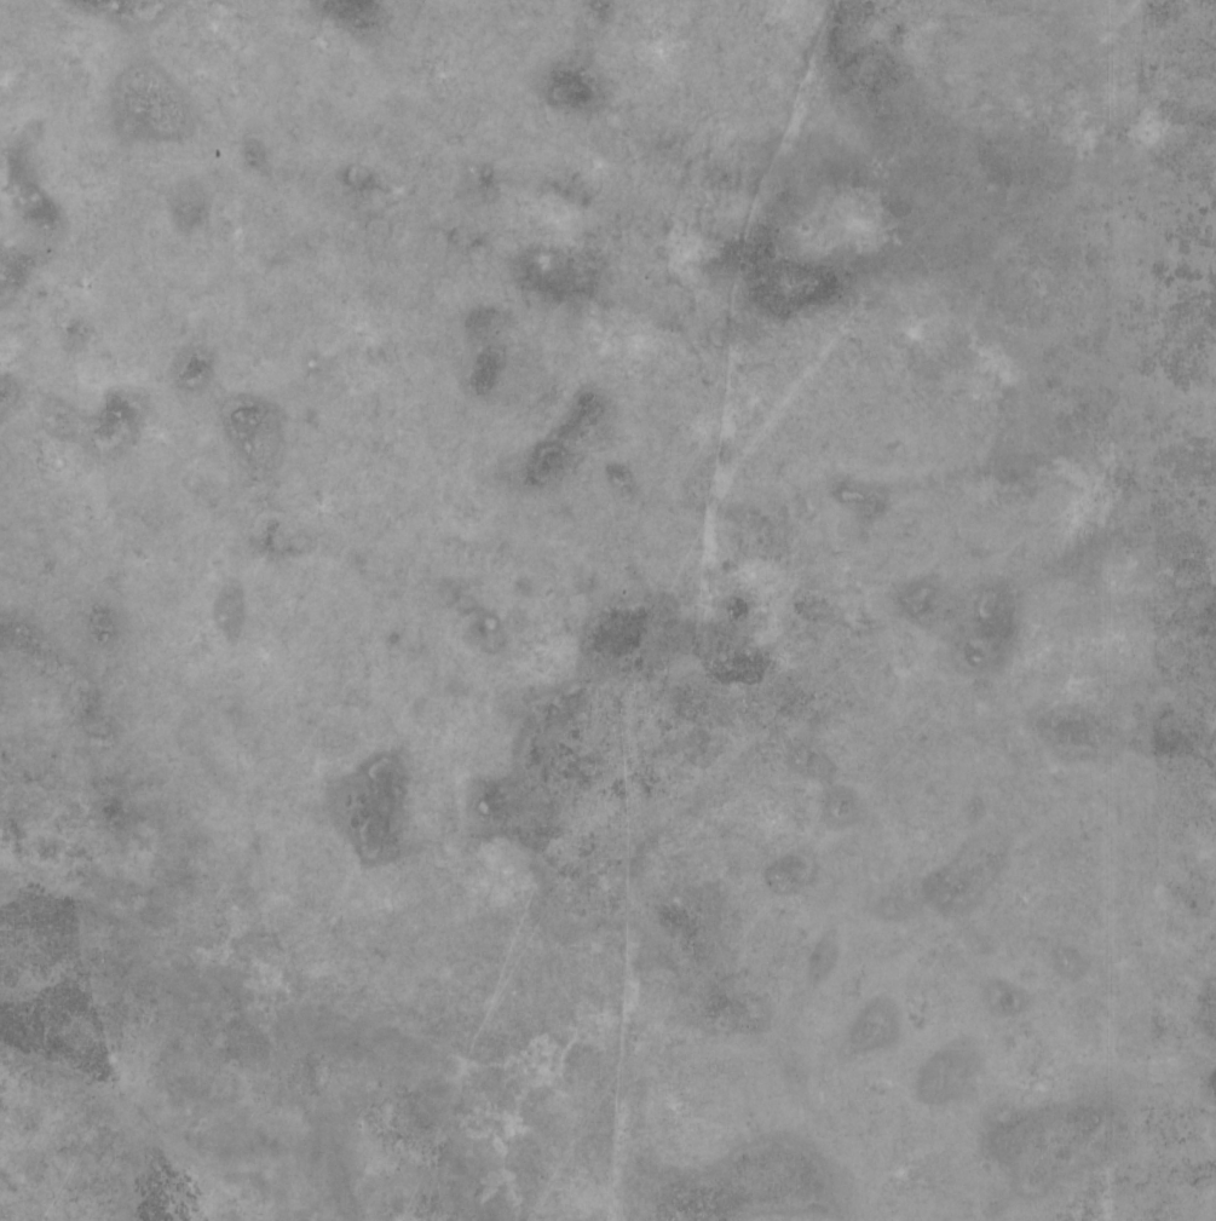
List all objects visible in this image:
road: (1107, 610)

